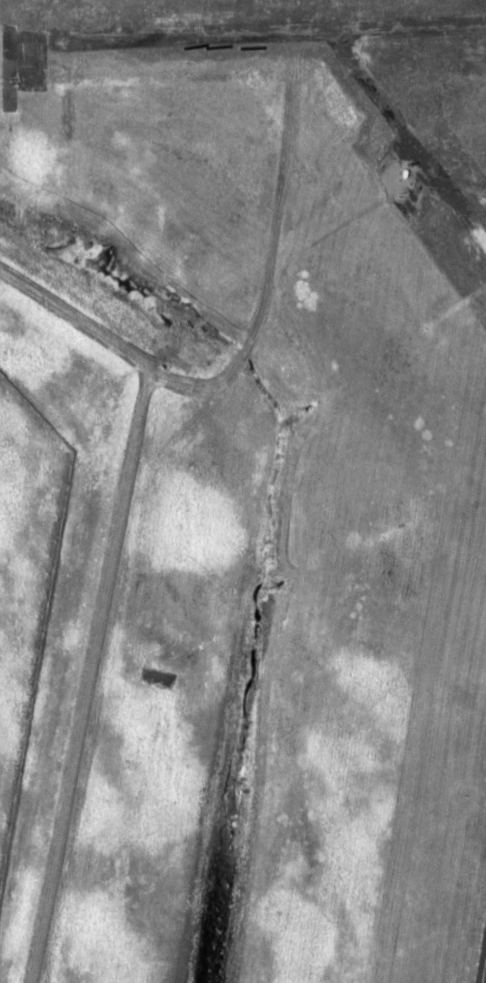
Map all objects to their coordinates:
airport: (258, 489)

